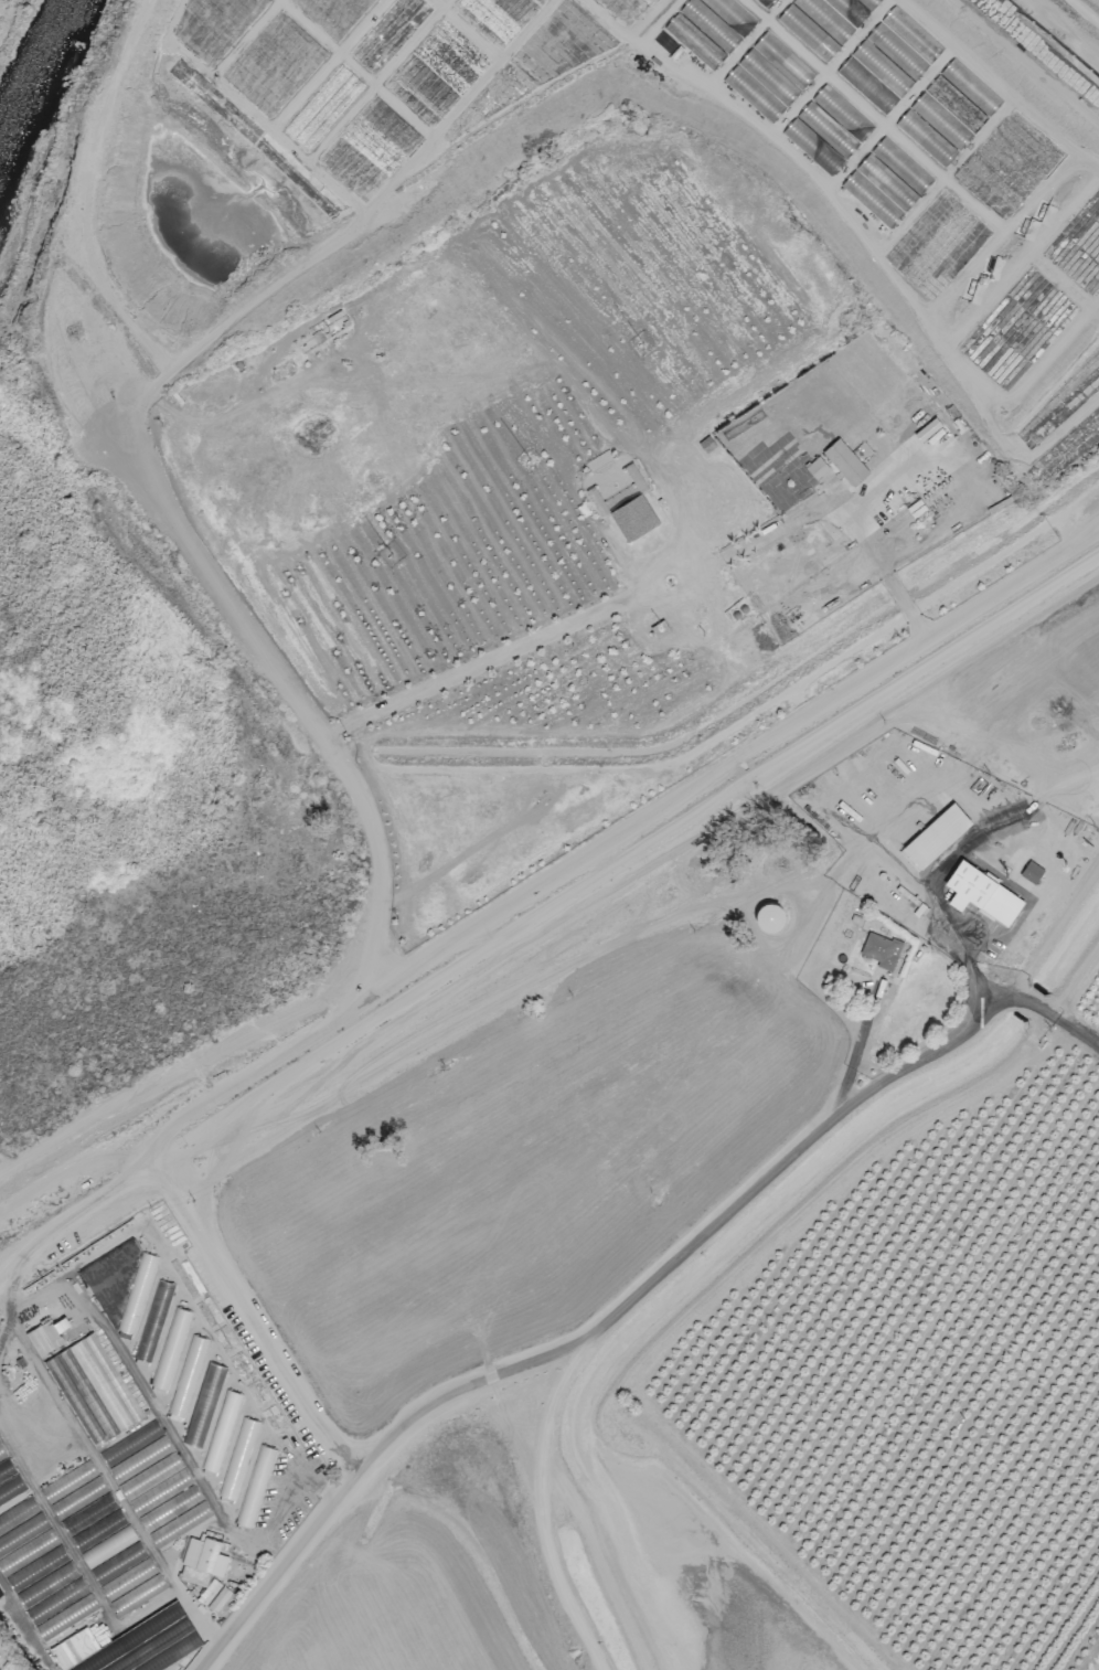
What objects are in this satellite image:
building: (766, 3)
building: (868, 3)
building: (822, 22)
building: (709, 28)
building: (911, 34)
building: (889, 60)
building: (776, 68)
road: (1012, 75)
building: (866, 86)
building: (970, 87)
building: (753, 93)
building: (956, 104)
building: (933, 129)
road: (922, 157)
building: (901, 166)
building: (886, 182)
building: (872, 199)
road: (348, 232)
road: (868, 242)
road: (96, 394)
building: (844, 460)
building: (825, 477)
building: (625, 513)
road: (524, 642)
building: (936, 834)
road: (942, 855)
building: (1031, 872)
road: (374, 875)
road: (541, 887)
building: (981, 893)
road: (1055, 937)
building: (881, 950)
road: (1028, 1003)
road: (1070, 1031)
road: (855, 1050)
road: (62, 1173)
building: (109, 1278)
building: (136, 1295)
road: (248, 1318)
building: (153, 1321)
road: (600, 1333)
building: (45, 1336)
building: (169, 1351)
building: (186, 1376)
building: (213, 1378)
building: (93, 1390)
building: (221, 1432)
crop: (143, 1456)
building: (237, 1459)
building: (255, 1486)
building: (4, 1544)
building: (204, 1555)
building: (211, 1588)
building: (52, 1598)
building: (131, 1645)

